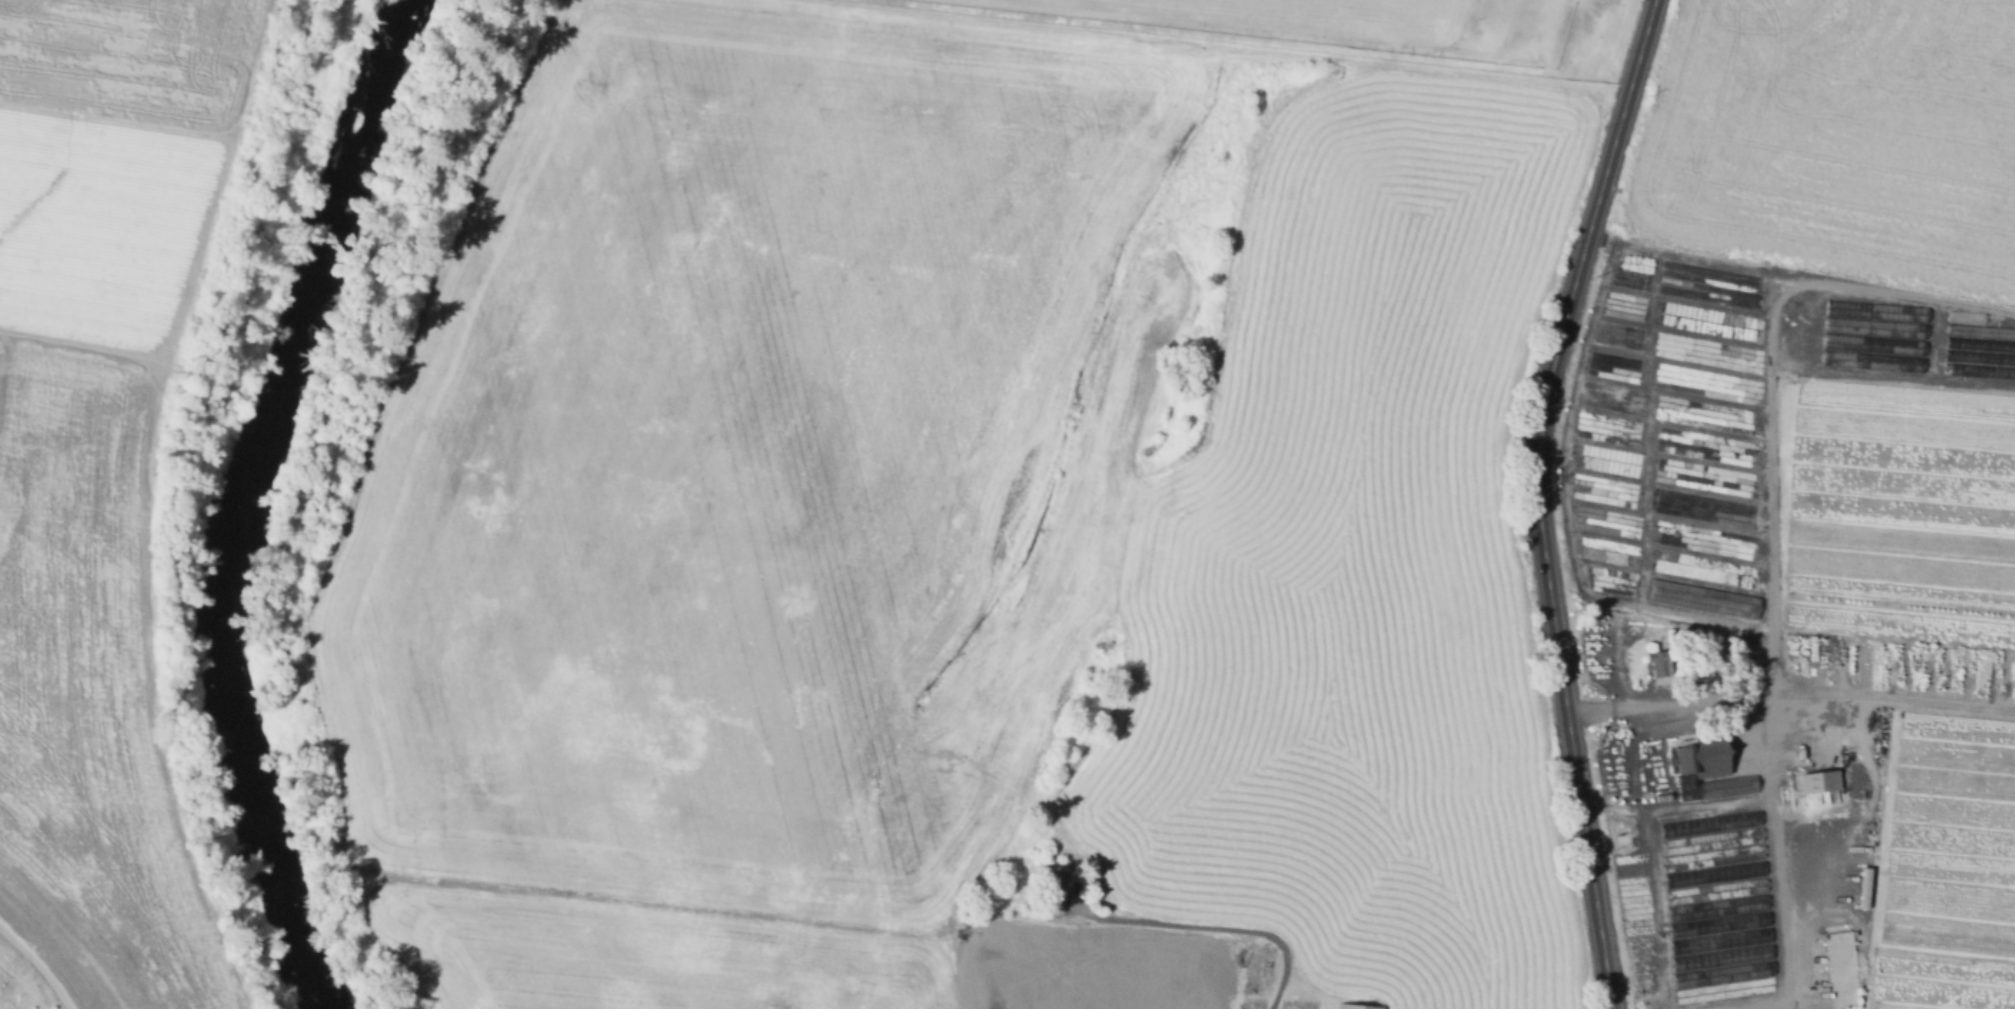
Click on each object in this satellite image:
crop: (1303, 17)
crop: (1833, 137)
crop: (115, 161)
crop: (1075, 264)
road: (1814, 283)
crop: (722, 474)
road: (1775, 492)
road: (1538, 499)
river: (234, 502)
road: (1563, 502)
crop: (1374, 585)
building: (1702, 598)
building: (1658, 663)
road: (1893, 698)
crop: (89, 705)
road: (1617, 708)
building: (1706, 754)
building: (1816, 780)
road: (1775, 807)
road: (1650, 856)
building: (1062, 888)
building: (1714, 898)
road: (1212, 927)
crop: (635, 953)
building: (1356, 1006)

